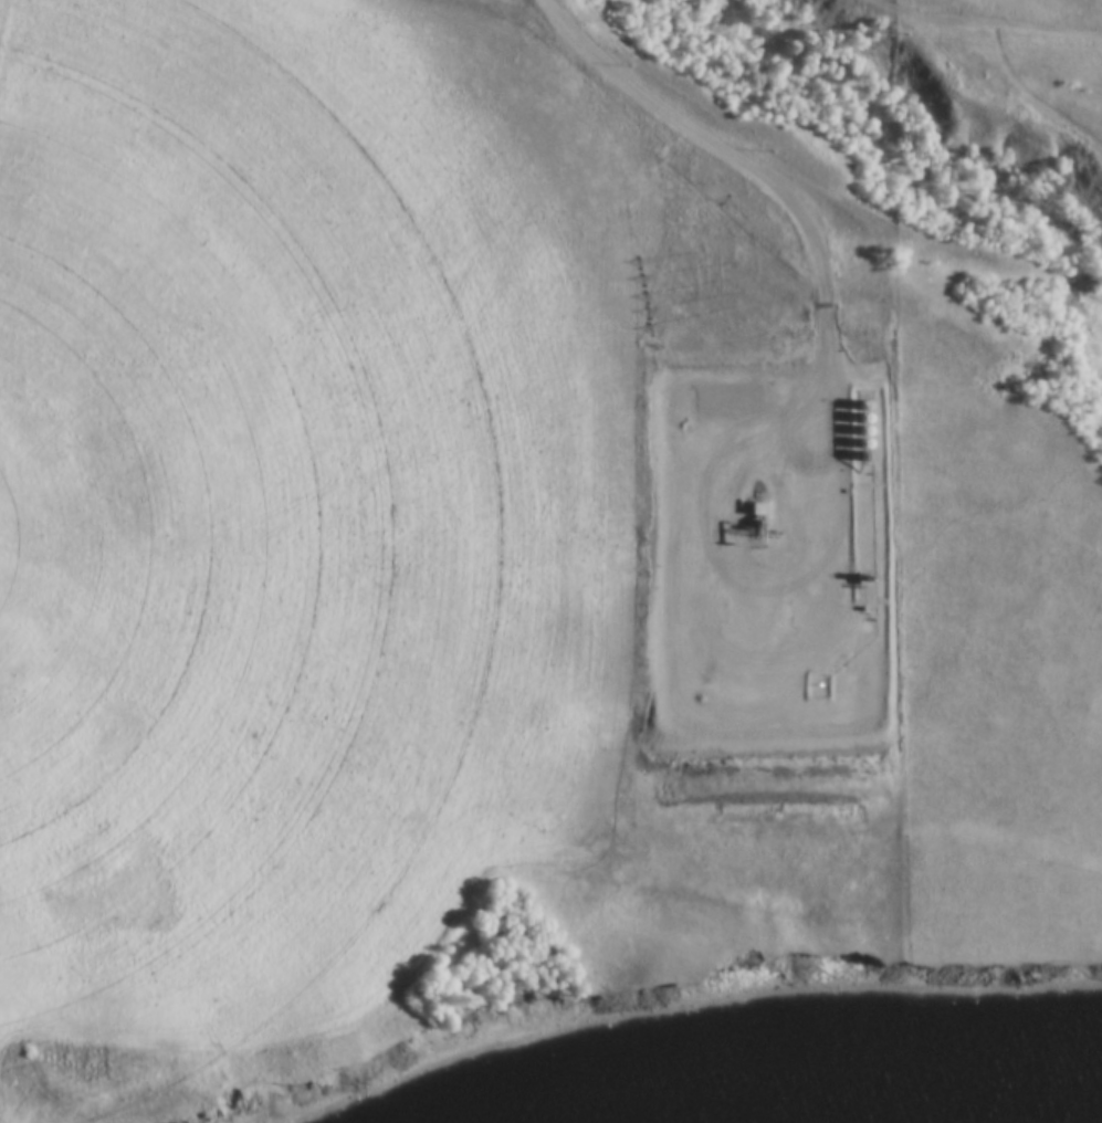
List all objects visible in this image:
road: (987, 29)

